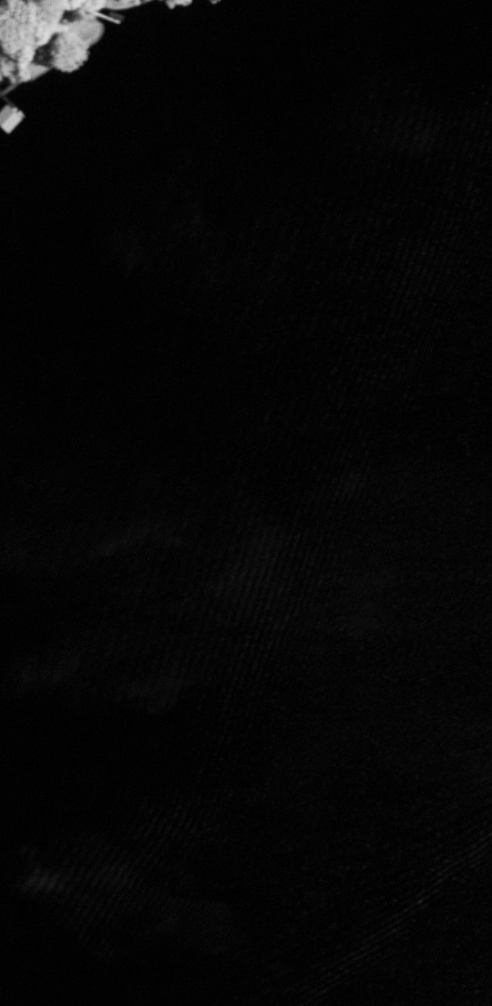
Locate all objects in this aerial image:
building: (7, 0)
building: (6, 117)

